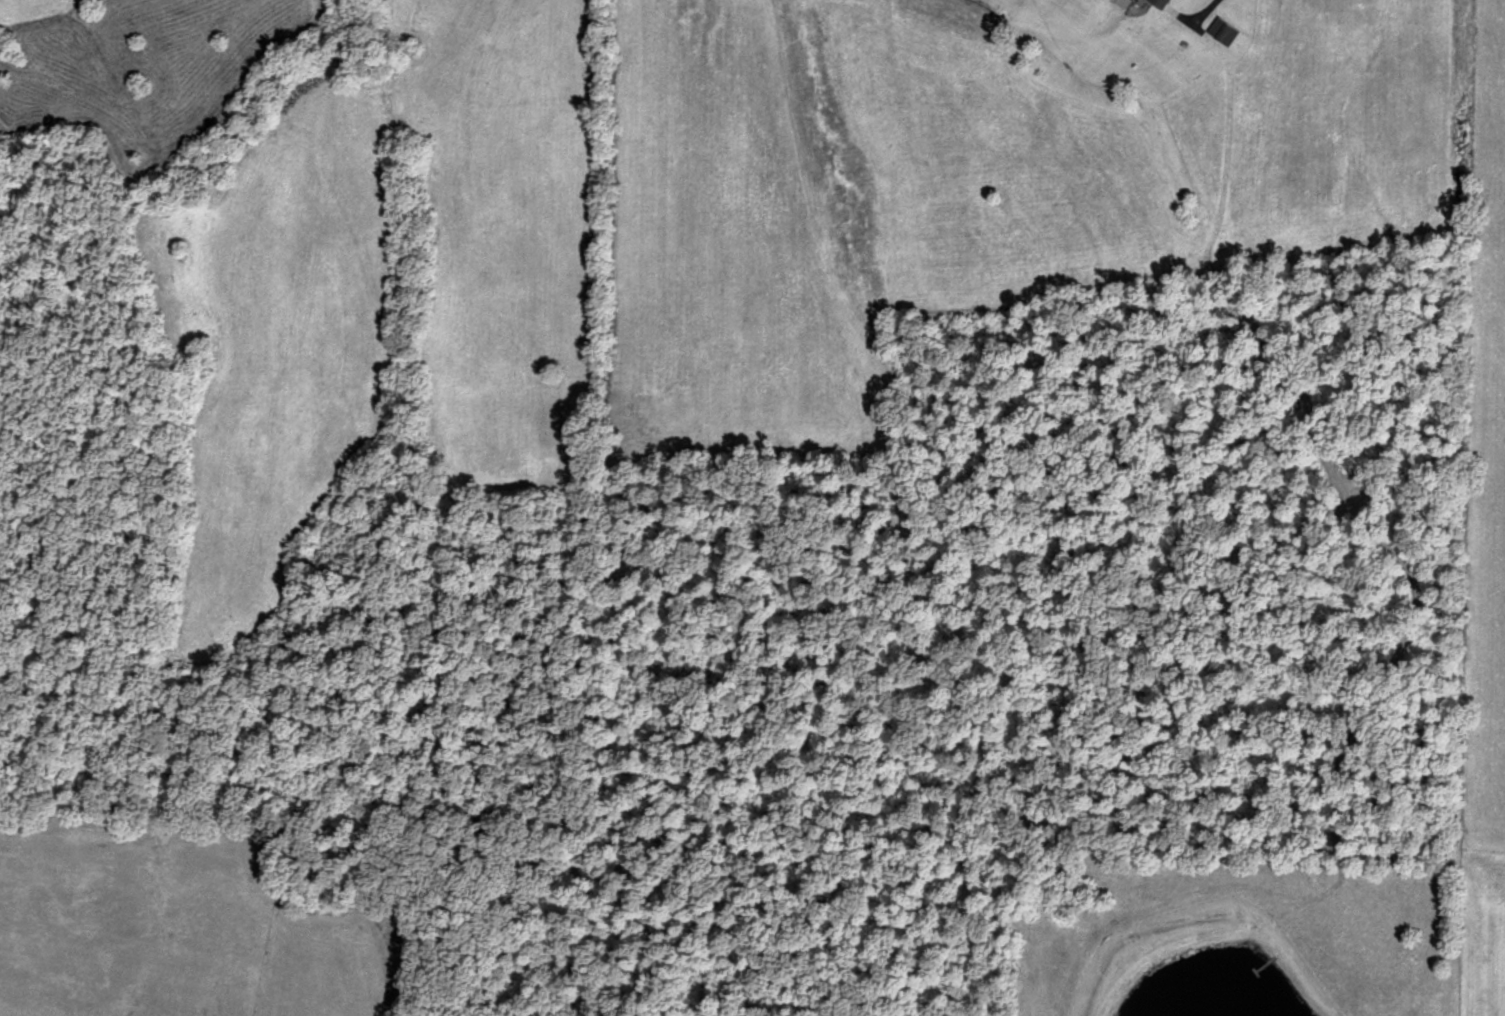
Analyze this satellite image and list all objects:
building: (1162, 3)
building: (1225, 31)

